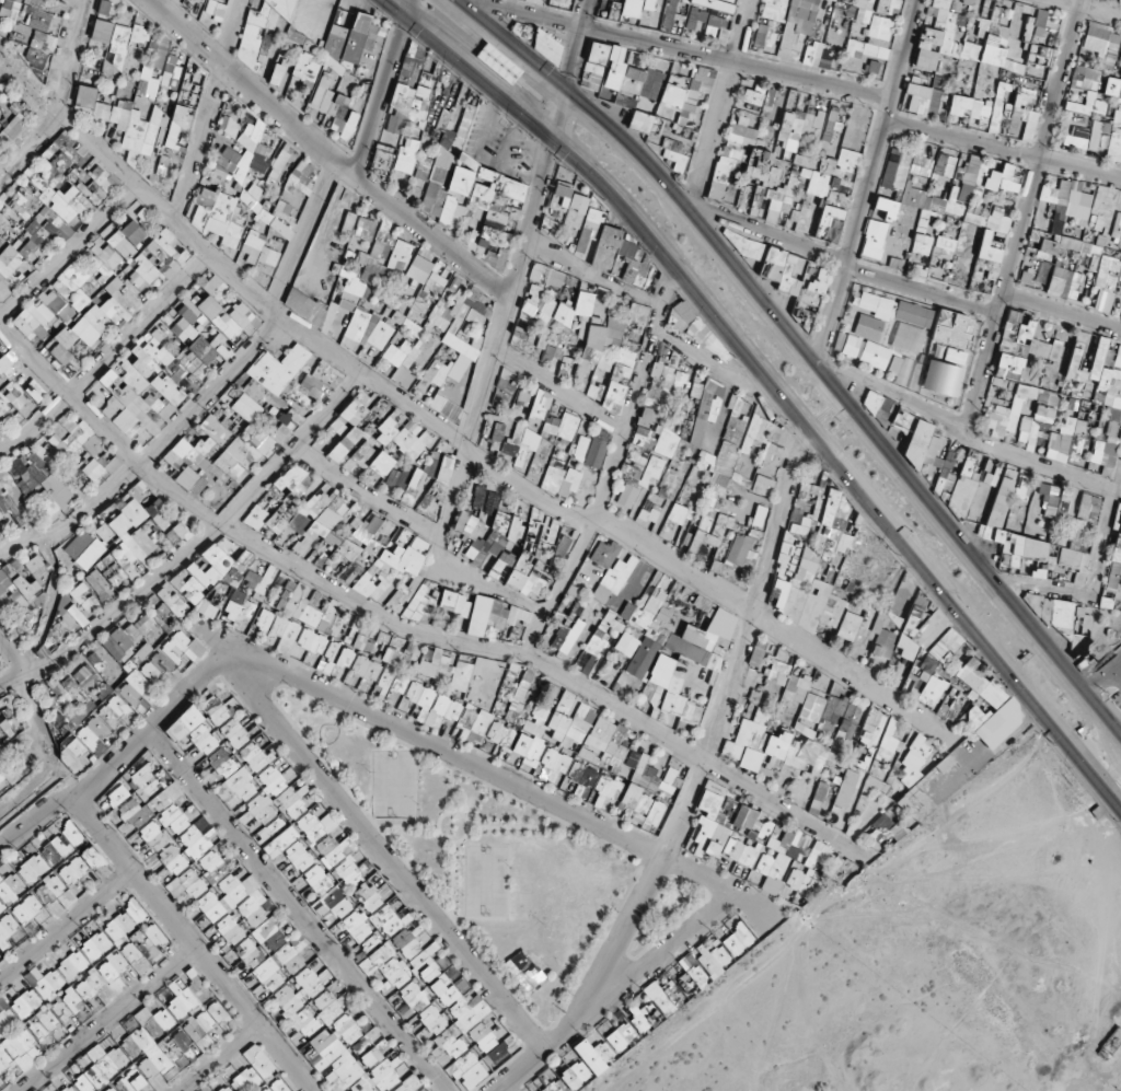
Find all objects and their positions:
parking lot: (1111, 672)
park: (394, 782)
park: (483, 856)
park: (487, 881)

